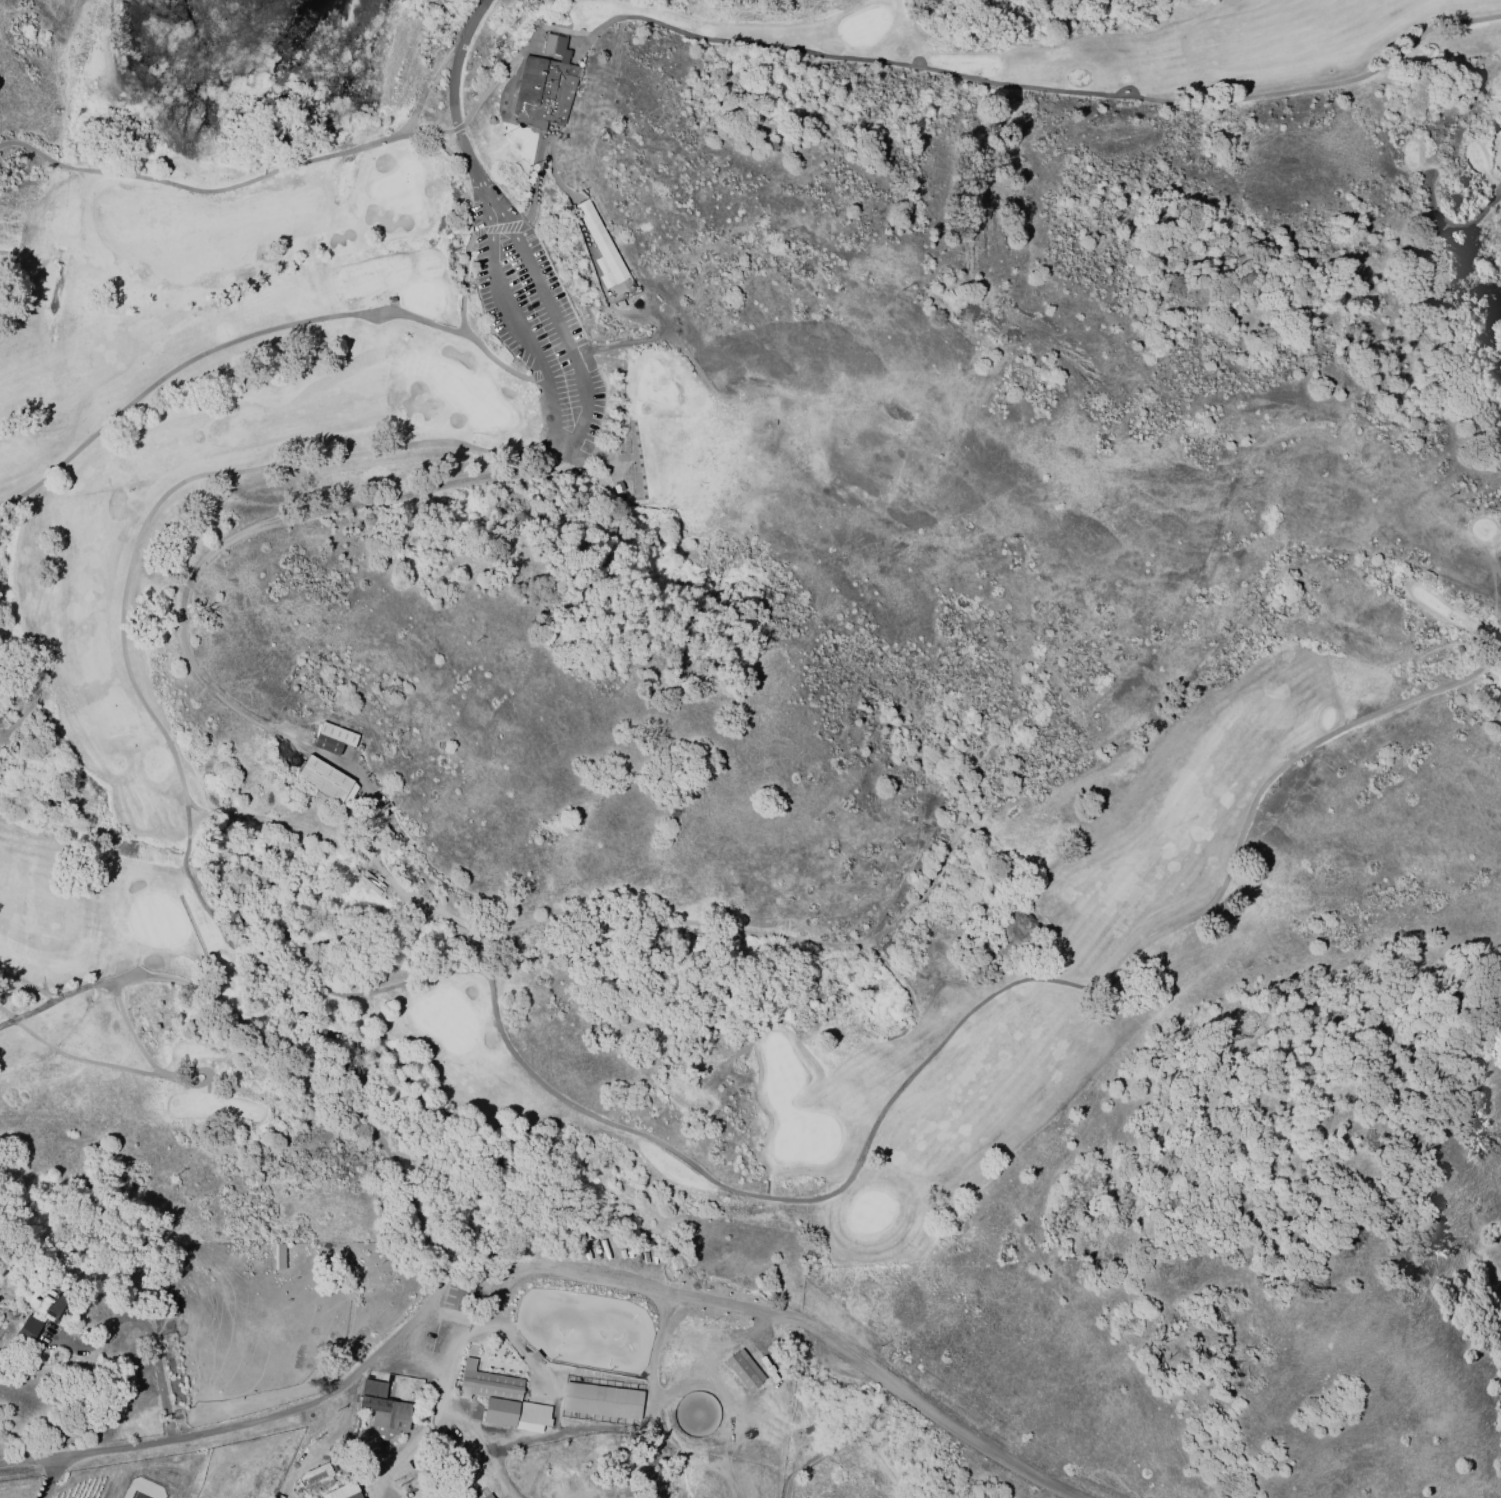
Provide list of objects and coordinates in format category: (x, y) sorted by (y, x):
road: (514, 56)
building: (544, 84)
road: (455, 87)
building: (600, 244)
road: (573, 437)
road: (284, 522)
park: (729, 571)
building: (332, 737)
building: (323, 778)
building: (372, 879)
building: (368, 884)
road: (408, 1197)
building: (457, 1296)
building: (29, 1298)
building: (48, 1303)
building: (28, 1326)
road: (150, 1335)
building: (534, 1355)
building: (744, 1369)
building: (495, 1393)
building: (601, 1399)
building: (384, 1409)
road: (433, 1414)
road: (249, 1424)
road: (470, 1424)
road: (609, 1426)
road: (964, 1433)
road: (845, 1446)
road: (453, 1473)
building: (314, 1474)
road: (48, 1477)
building: (413, 1487)
building: (342, 1491)
building: (487, 1495)

